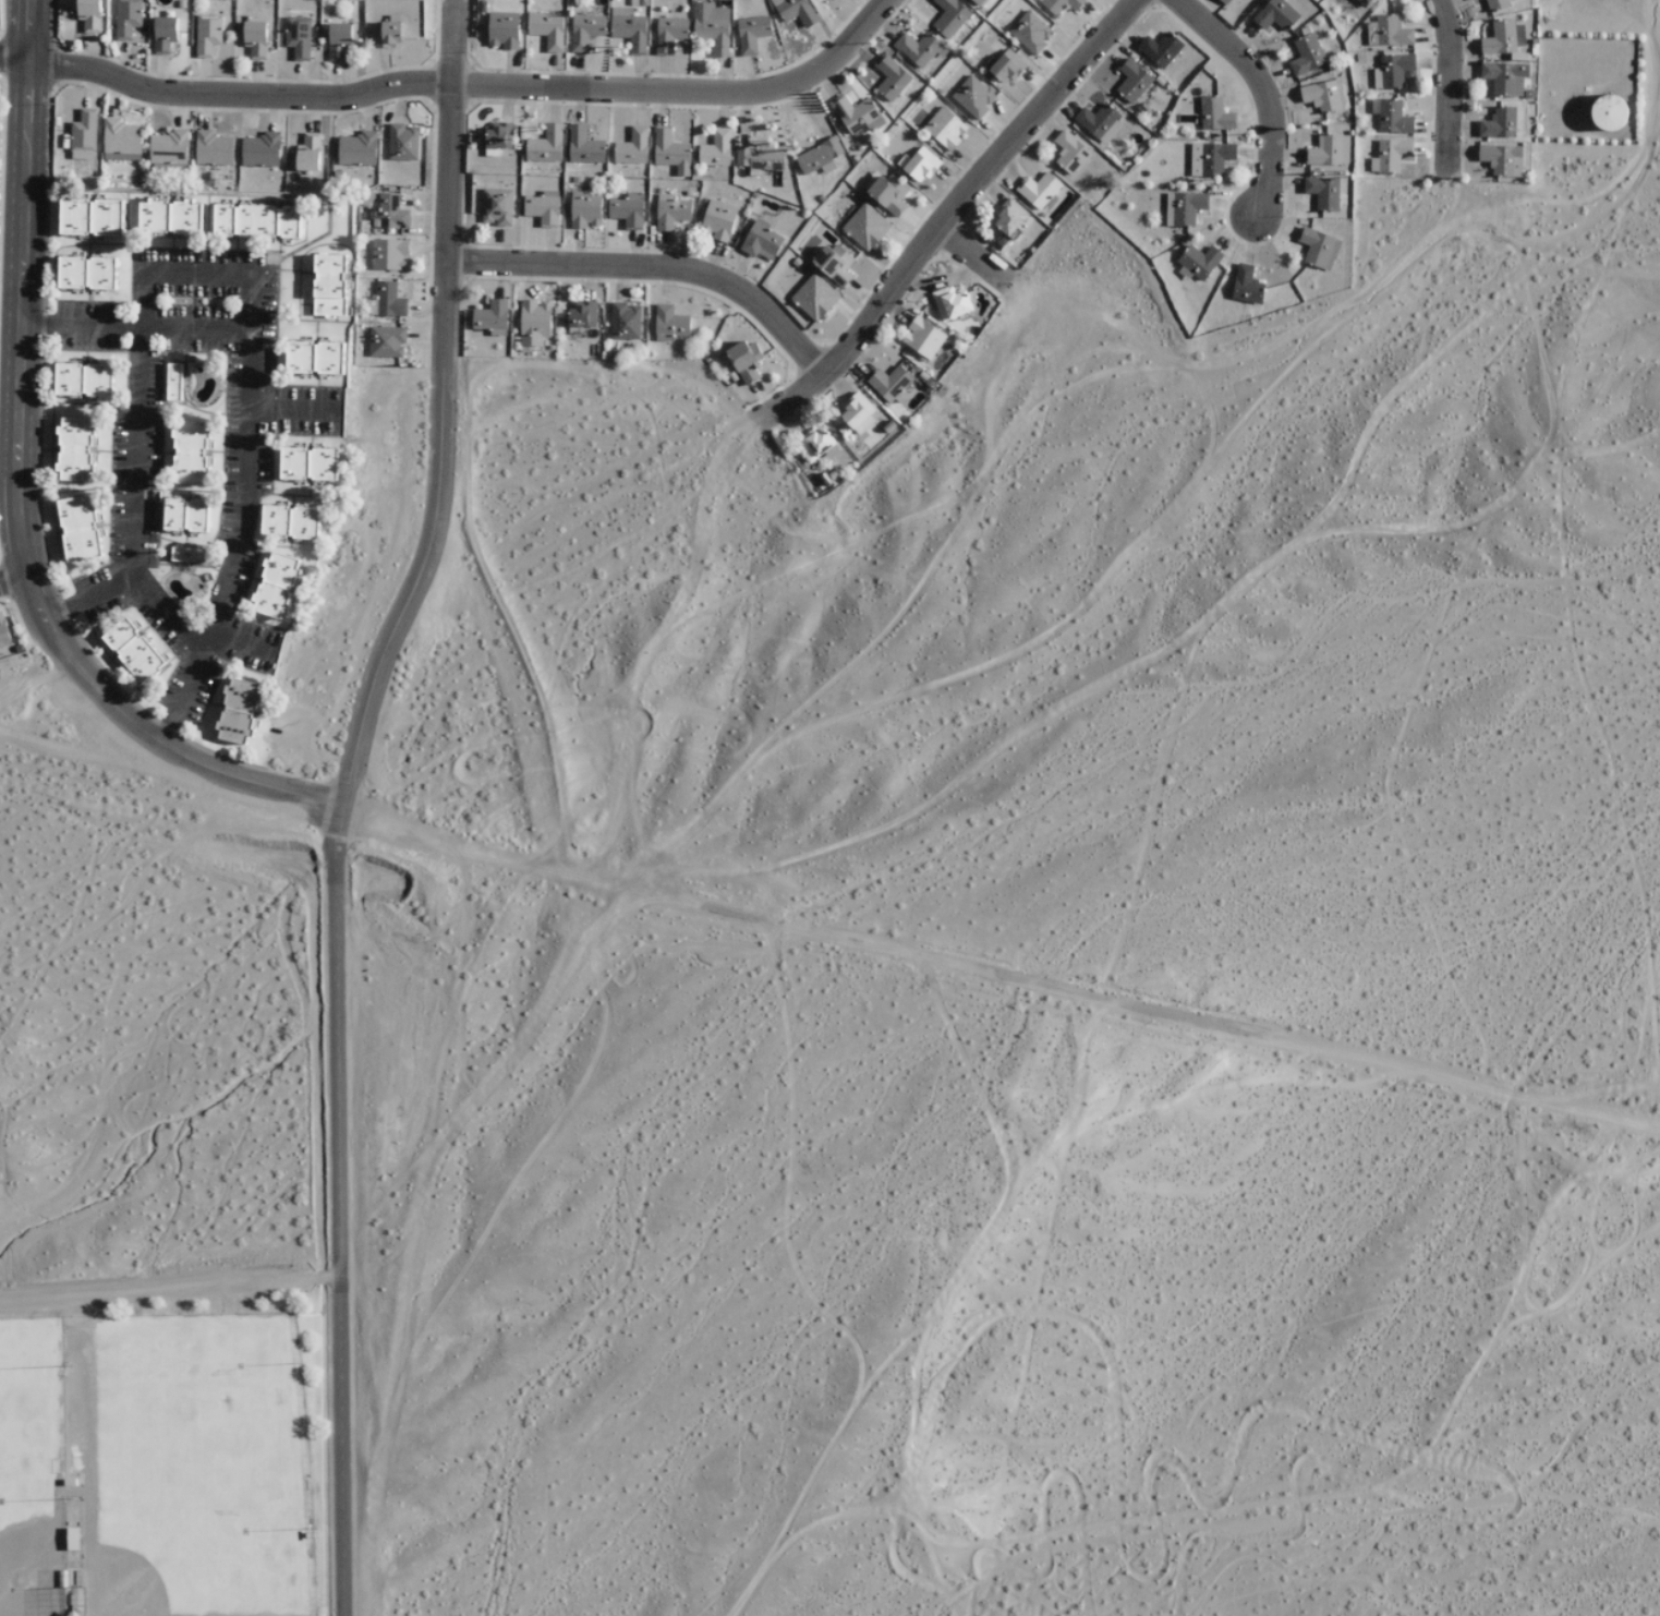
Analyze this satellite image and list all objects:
building: (977, 1)
building: (1224, 1)
building: (1361, 2)
building: (1061, 4)
building: (1497, 4)
building: (796, 11)
building: (1275, 14)
building: (89, 15)
building: (950, 16)
building: (126, 19)
building: (712, 26)
road: (29, 28)
building: (629, 28)
building: (504, 29)
building: (547, 29)
building: (585, 29)
building: (388, 32)
building: (1030, 32)
building: (1388, 32)
building: (670, 33)
building: (752, 33)
building: (163, 34)
building: (207, 34)
building: (298, 37)
building: (1503, 37)
building: (255, 38)
building: (338, 41)
building: (1160, 49)
building: (1306, 53)
building: (1005, 67)
building: (1392, 71)
road: (448, 76)
building: (890, 77)
building: (1505, 77)
building: (1132, 81)
road: (1447, 85)
building: (973, 95)
road: (1264, 95)
building: (1324, 95)
building: (1611, 111)
building: (857, 114)
building: (1215, 114)
building: (1391, 116)
building: (1099, 121)
building: (1499, 123)
building: (945, 128)
building: (83, 135)
building: (498, 136)
building: (120, 141)
building: (402, 143)
building: (545, 145)
building: (584, 145)
building: (632, 146)
building: (169, 147)
building: (213, 148)
building: (358, 148)
building: (715, 148)
building: (260, 149)
building: (1329, 150)
building: (670, 152)
building: (1070, 152)
building: (307, 153)
building: (819, 155)
building: (1390, 155)
building: (1210, 158)
building: (760, 159)
building: (1502, 159)
building: (1039, 189)
building: (1323, 191)
building: (888, 194)
building: (497, 206)
building: (1184, 207)
building: (585, 208)
building: (626, 208)
building: (543, 209)
building: (671, 212)
building: (389, 213)
road: (946, 214)
building: (90, 216)
building: (168, 216)
building: (1010, 216)
building: (718, 219)
building: (256, 220)
building: (865, 227)
building: (761, 240)
building: (1319, 248)
building: (388, 253)
road: (968, 254)
building: (1198, 262)
road: (652, 263)
building: (835, 263)
building: (86, 272)
building: (329, 285)
building: (1247, 286)
building: (814, 297)
building: (387, 300)
building: (950, 303)
building: (582, 316)
building: (492, 317)
building: (625, 321)
building: (534, 322)
building: (669, 323)
road: (194, 328)
building: (923, 337)
building: (386, 341)
building: (315, 357)
building: (744, 360)
road: (245, 377)
building: (83, 378)
building: (173, 382)
building: (889, 383)
road: (290, 410)
road: (441, 411)
building: (859, 412)
building: (821, 445)
building: (74, 449)
building: (190, 454)
building: (308, 463)
road: (140, 497)
building: (185, 515)
building: (290, 521)
road: (20, 522)
building: (78, 528)
building: (185, 554)
road: (14, 577)
building: (276, 584)
road: (163, 614)
building: (3, 634)
road: (241, 643)
building: (133, 650)
building: (238, 711)
road: (828, 921)
road: (332, 1211)
building: (72, 1537)
building: (74, 1613)

